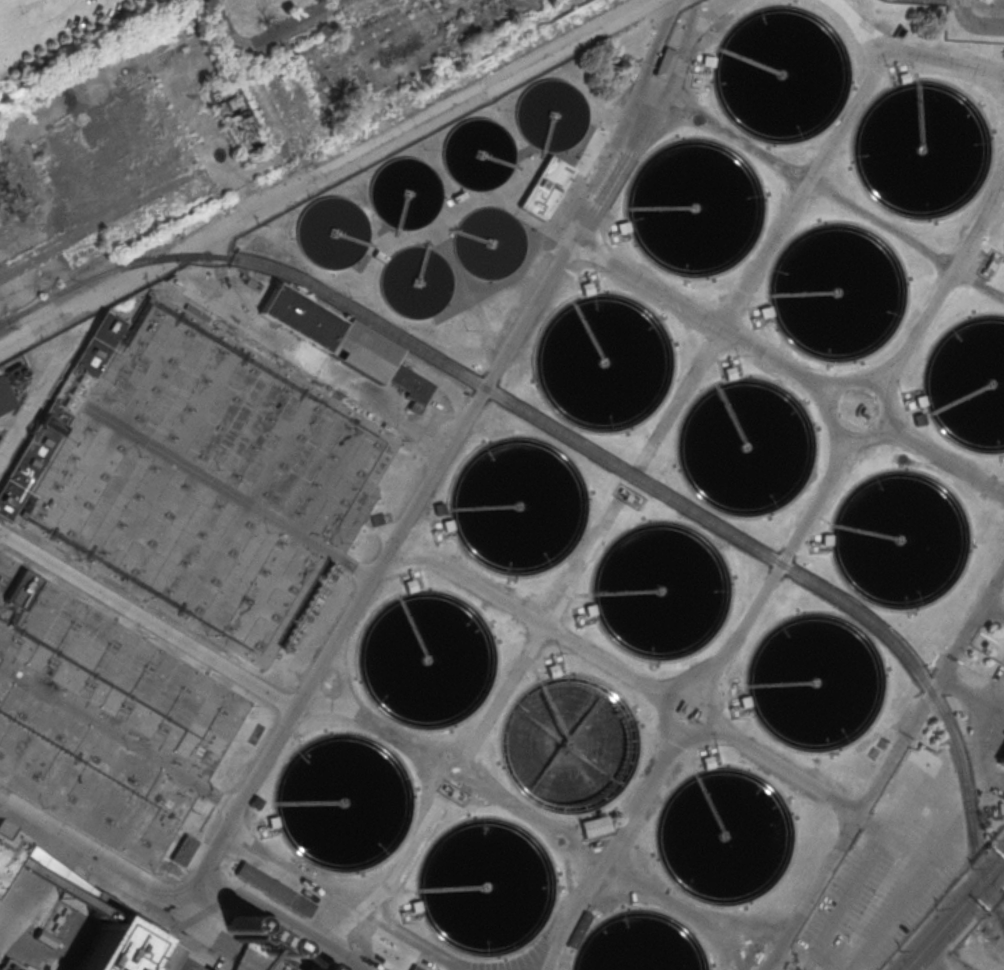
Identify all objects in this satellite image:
road: (962, 9)
road: (708, 18)
road: (983, 26)
road: (292, 28)
park: (8, 33)
park: (66, 34)
road: (909, 52)
building: (664, 63)
road: (250, 75)
road: (479, 92)
building: (236, 118)
building: (950, 156)
building: (544, 186)
road: (764, 259)
road: (152, 263)
road: (945, 286)
building: (299, 316)
building: (854, 321)
building: (377, 361)
road: (798, 374)
building: (2, 399)
building: (57, 411)
road: (451, 444)
railway: (593, 452)
building: (204, 478)
wastewater plant: (204, 478)
power substation: (629, 495)
wastewater plant: (536, 535)
building: (825, 539)
building: (903, 545)
road: (788, 552)
road: (628, 674)
building: (735, 685)
road: (932, 694)
building: (455, 701)
road: (494, 712)
building: (101, 718)
wastewater plant: (101, 718)
parking lot: (987, 742)
building: (1001, 758)
building: (595, 826)
road: (623, 832)
building: (182, 849)
parking lot: (890, 868)
building: (747, 881)
building: (274, 889)
building: (72, 891)
road: (815, 892)
road: (323, 898)
road: (954, 914)
building: (578, 929)
road: (968, 930)
building: (253, 941)
wastewater plant: (982, 945)
road: (926, 962)
building: (12, 964)
building: (414, 967)
building: (311, 968)
building: (325, 969)

